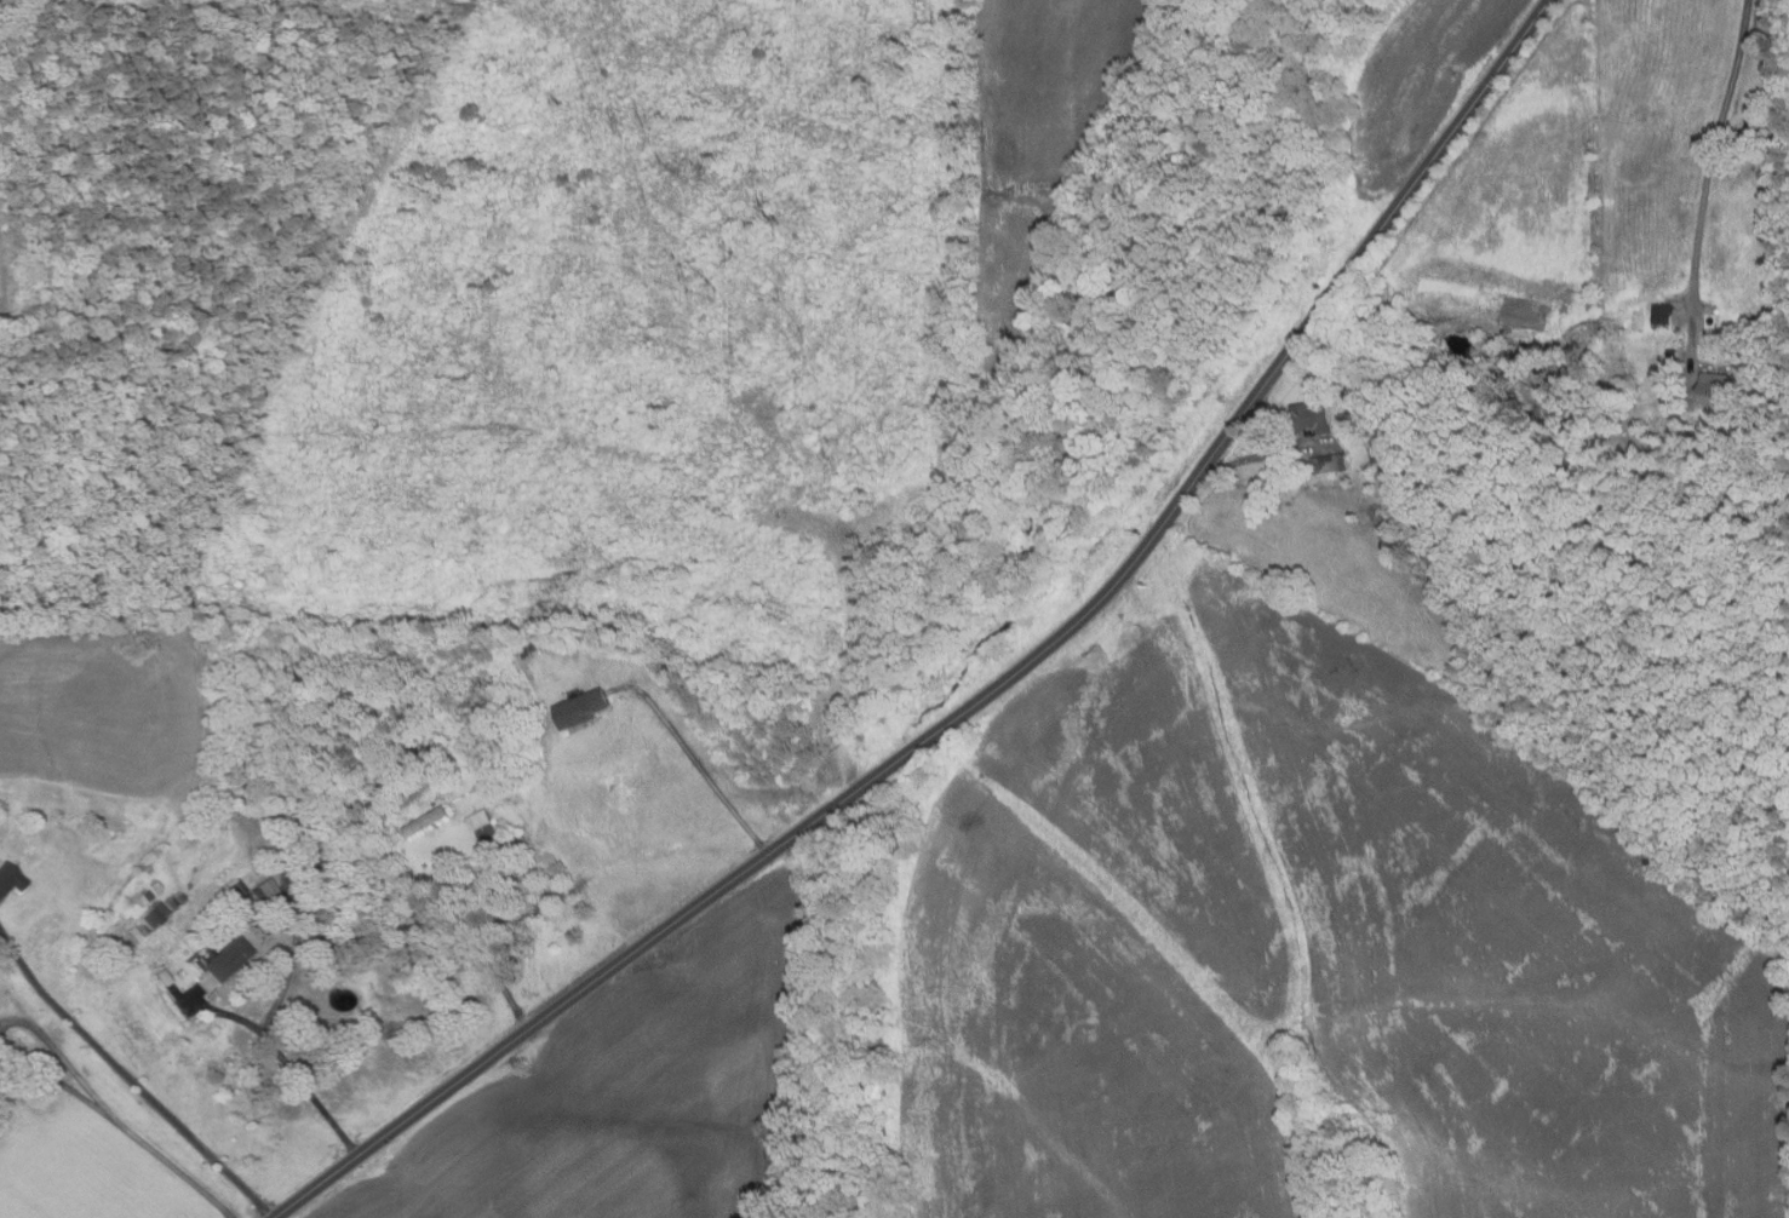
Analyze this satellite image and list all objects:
road: (1716, 174)
crop: (4, 282)
building: (1664, 314)
building: (1753, 322)
building: (1674, 354)
building: (1581, 370)
building: (1718, 389)
building: (1311, 418)
road: (1268, 454)
building: (1380, 454)
building: (1330, 464)
building: (535, 648)
building: (526, 653)
road: (992, 691)
crop: (97, 706)
building: (583, 708)
road: (696, 762)
building: (402, 776)
building: (384, 777)
building: (412, 789)
building: (366, 793)
building: (378, 803)
building: (480, 820)
building: (426, 821)
building: (282, 834)
building: (273, 839)
building: (308, 861)
building: (10, 878)
building: (157, 886)
building: (266, 887)
building: (235, 889)
building: (144, 897)
building: (180, 898)
building: (171, 902)
building: (155, 915)
building: (142, 930)
road: (482, 942)
crop: (1309, 948)
crop: (1309, 954)
building: (223, 963)
building: (164, 977)
road: (285, 1061)
road: (133, 1078)
crop: (632, 1091)
road: (124, 1125)

